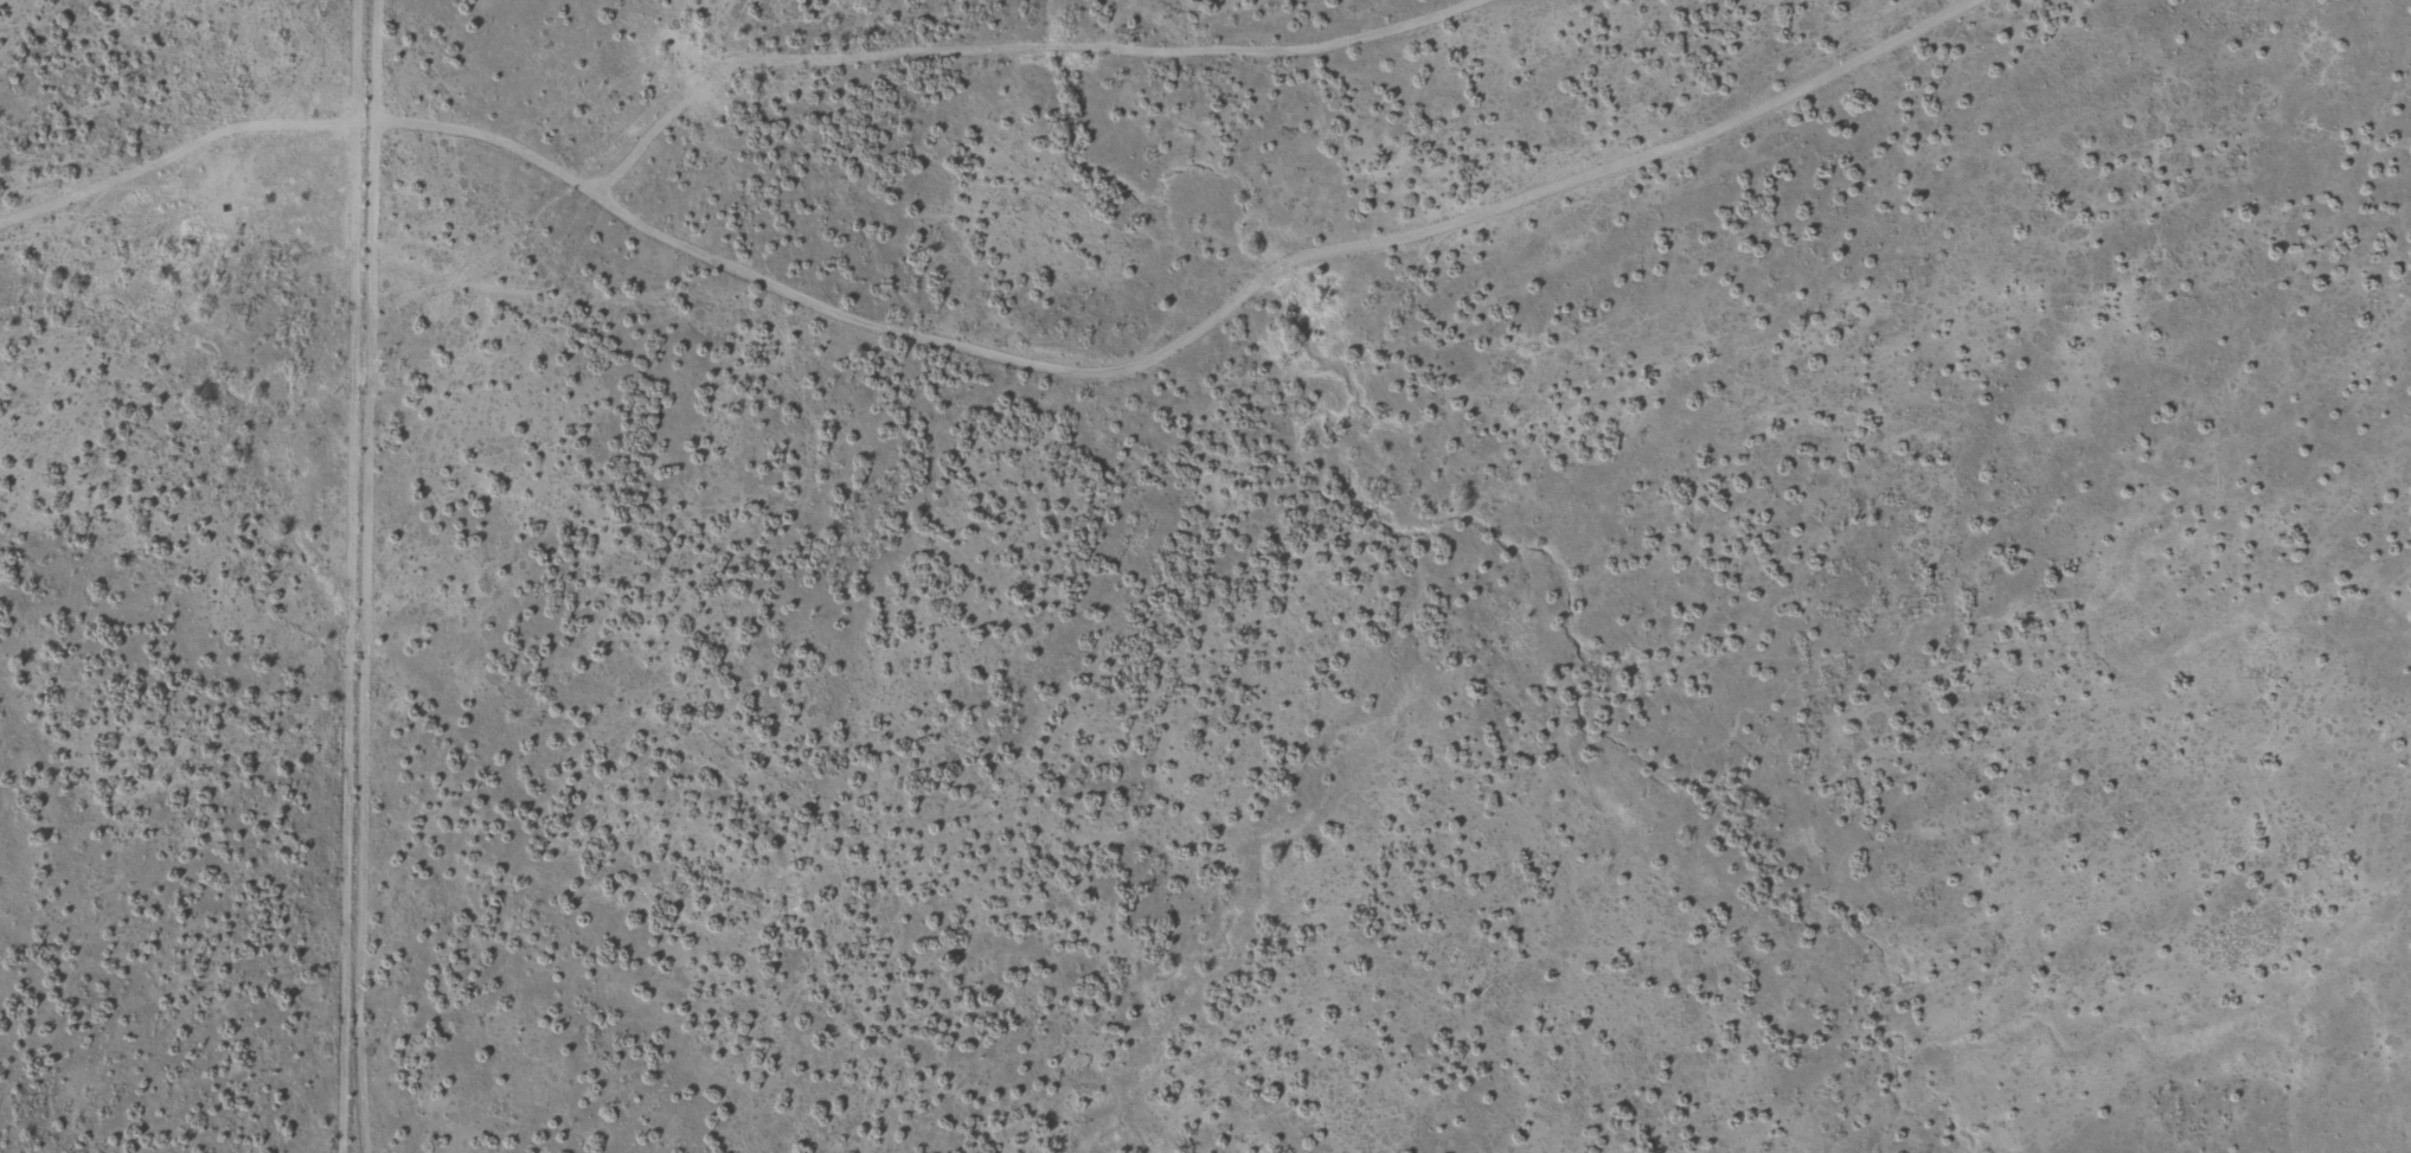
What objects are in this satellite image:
road: (2404, 5)
road: (1006, 84)
road: (1014, 370)

